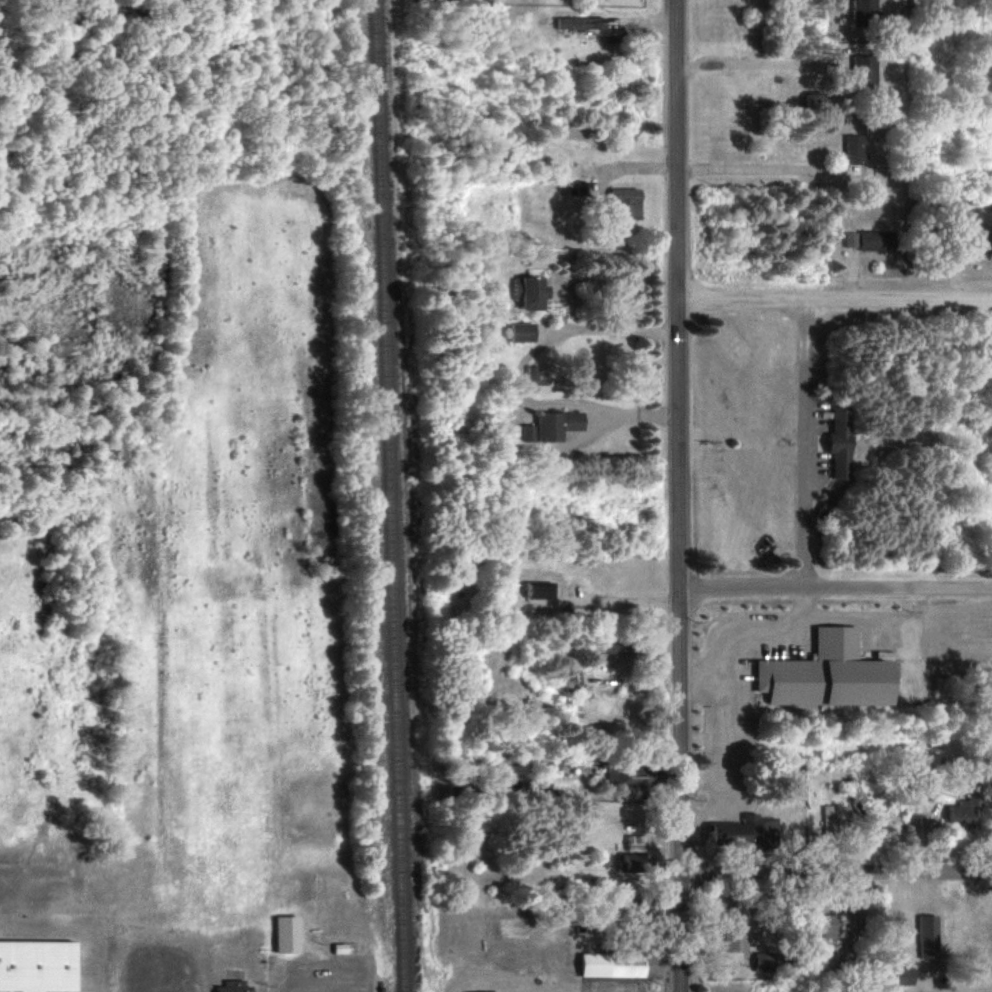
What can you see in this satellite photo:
building: (864, 11)
building: (581, 22)
road: (752, 62)
building: (864, 72)
building: (817, 100)
building: (855, 148)
road: (760, 165)
building: (580, 188)
building: (626, 202)
building: (870, 239)
building: (530, 291)
road: (835, 299)
building: (522, 331)
building: (532, 373)
road: (573, 404)
road: (516, 405)
building: (552, 425)
road: (810, 438)
building: (841, 442)
railway: (389, 496)
road: (678, 496)
road: (834, 577)
building: (539, 589)
road: (622, 598)
building: (829, 673)
building: (859, 796)
building: (963, 812)
building: (829, 819)
building: (747, 834)
building: (636, 842)
building: (633, 862)
road: (835, 871)
building: (828, 924)
building: (735, 930)
building: (288, 933)
building: (929, 936)
building: (763, 961)
building: (613, 964)
building: (37, 966)
building: (902, 975)
building: (234, 986)
road: (316, 986)
building: (484, 991)

